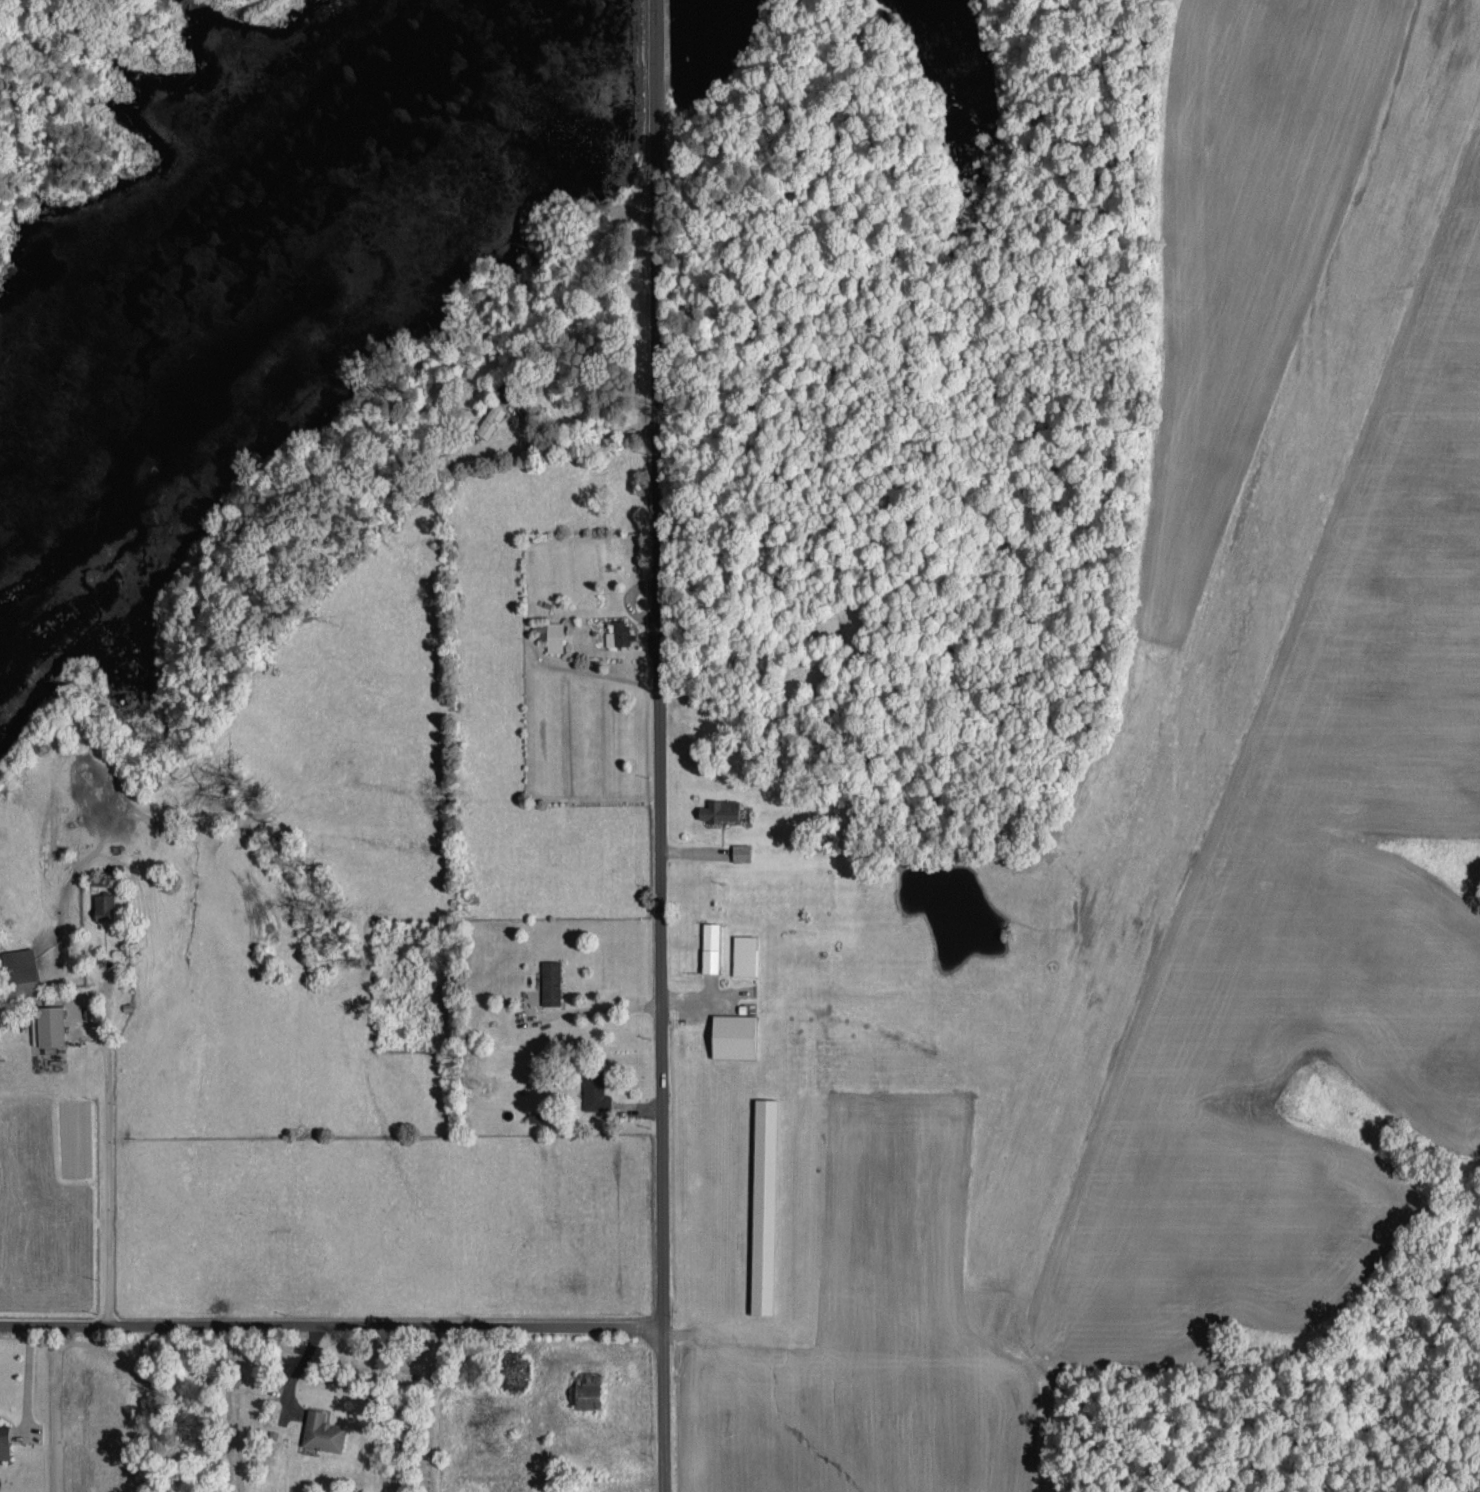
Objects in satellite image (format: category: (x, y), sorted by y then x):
building: (491, 418)
building: (619, 633)
building: (554, 635)
airport runway: (1235, 636)
road: (660, 746)
building: (720, 809)
road: (696, 850)
building: (741, 850)
building: (105, 905)
building: (711, 946)
building: (744, 953)
building: (21, 970)
building: (551, 981)
building: (50, 1024)
building: (734, 1034)
building: (595, 1092)
road: (107, 1184)
airport hangar: (764, 1205)
building: (764, 1205)
road: (331, 1323)
building: (588, 1388)
building: (322, 1429)
building: (4, 1436)

